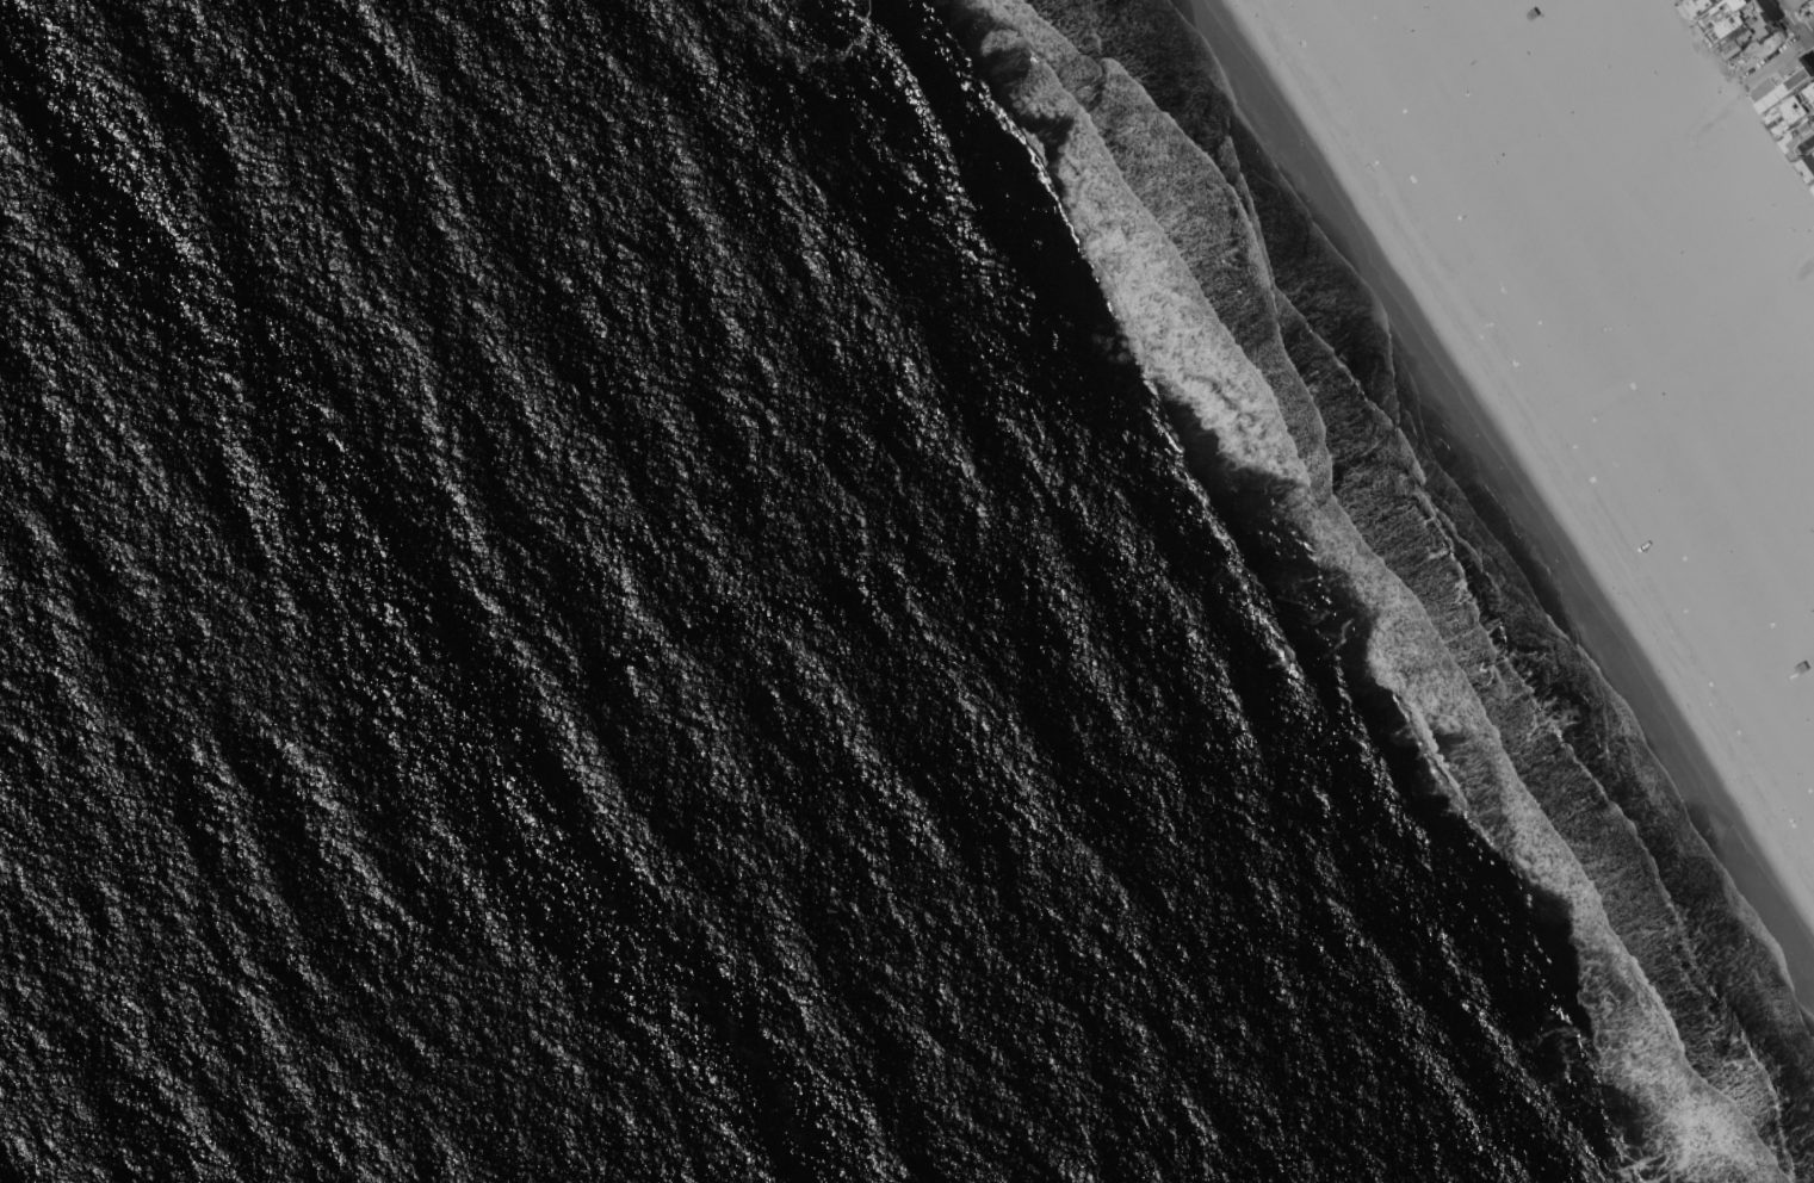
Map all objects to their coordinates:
building: (1797, 2)
building: (1701, 5)
building: (1739, 25)
road: (1795, 25)
road: (1781, 51)
building: (1784, 83)
building: (1405, 106)
building: (1794, 112)
building: (1802, 141)
road: (1787, 151)
building: (1809, 166)
park: (1763, 210)
building: (1770, 689)

